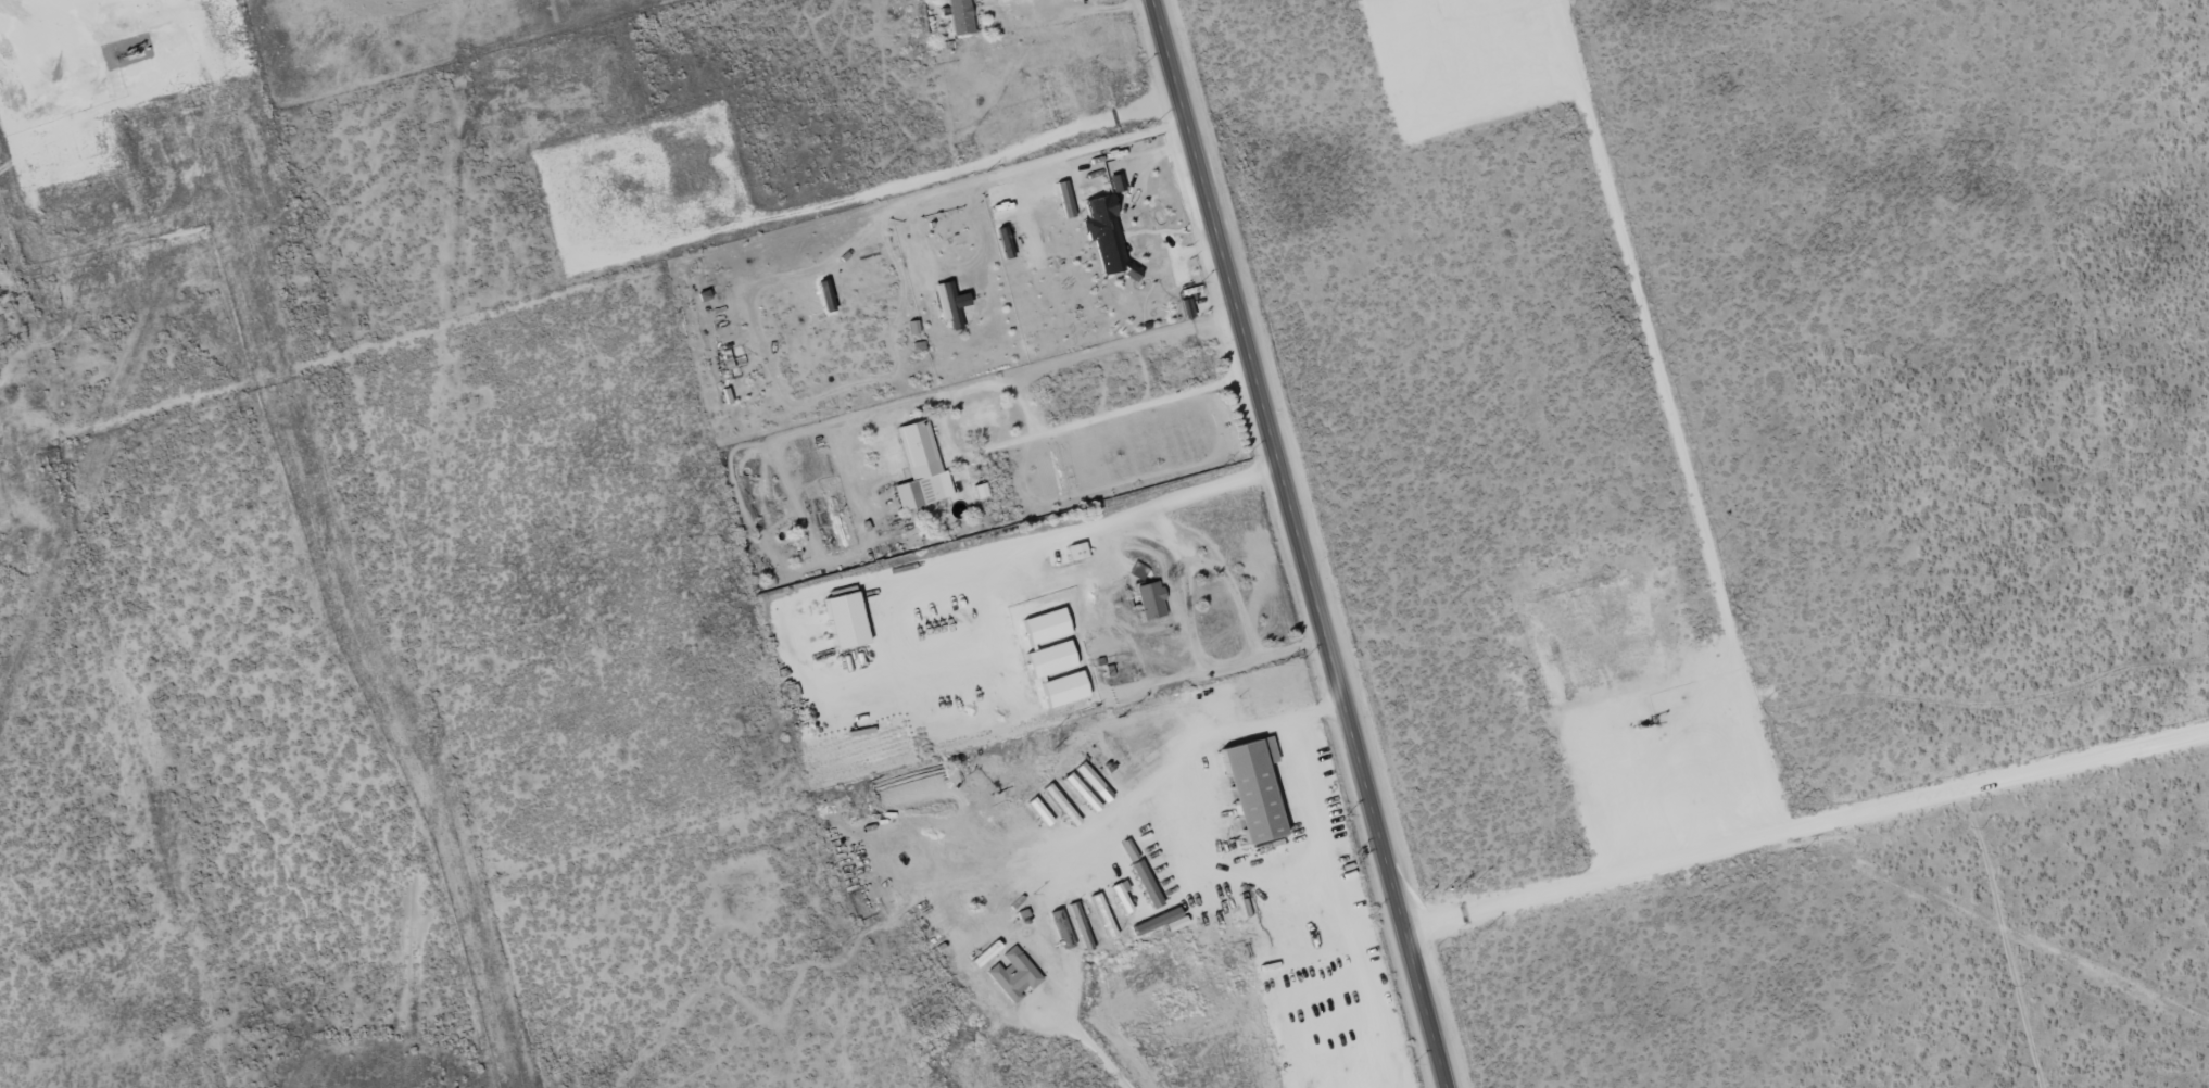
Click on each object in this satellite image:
building: (958, 16)
building: (1114, 184)
road: (951, 189)
building: (1063, 200)
building: (1098, 230)
building: (948, 304)
building: (919, 469)
road: (1295, 543)
building: (1076, 552)
building: (1137, 571)
building: (1149, 600)
road: (575, 616)
building: (844, 621)
building: (1044, 627)
building: (1049, 659)
building: (1063, 690)
building: (1091, 782)
building: (1251, 789)
building: (1081, 793)
building: (1060, 805)
building: (1038, 812)
building: (1145, 884)
building: (1007, 895)
building: (1120, 897)
building: (1101, 915)
building: (1160, 922)
building: (1078, 927)
building: (1061, 928)
building: (984, 954)
building: (1011, 975)

